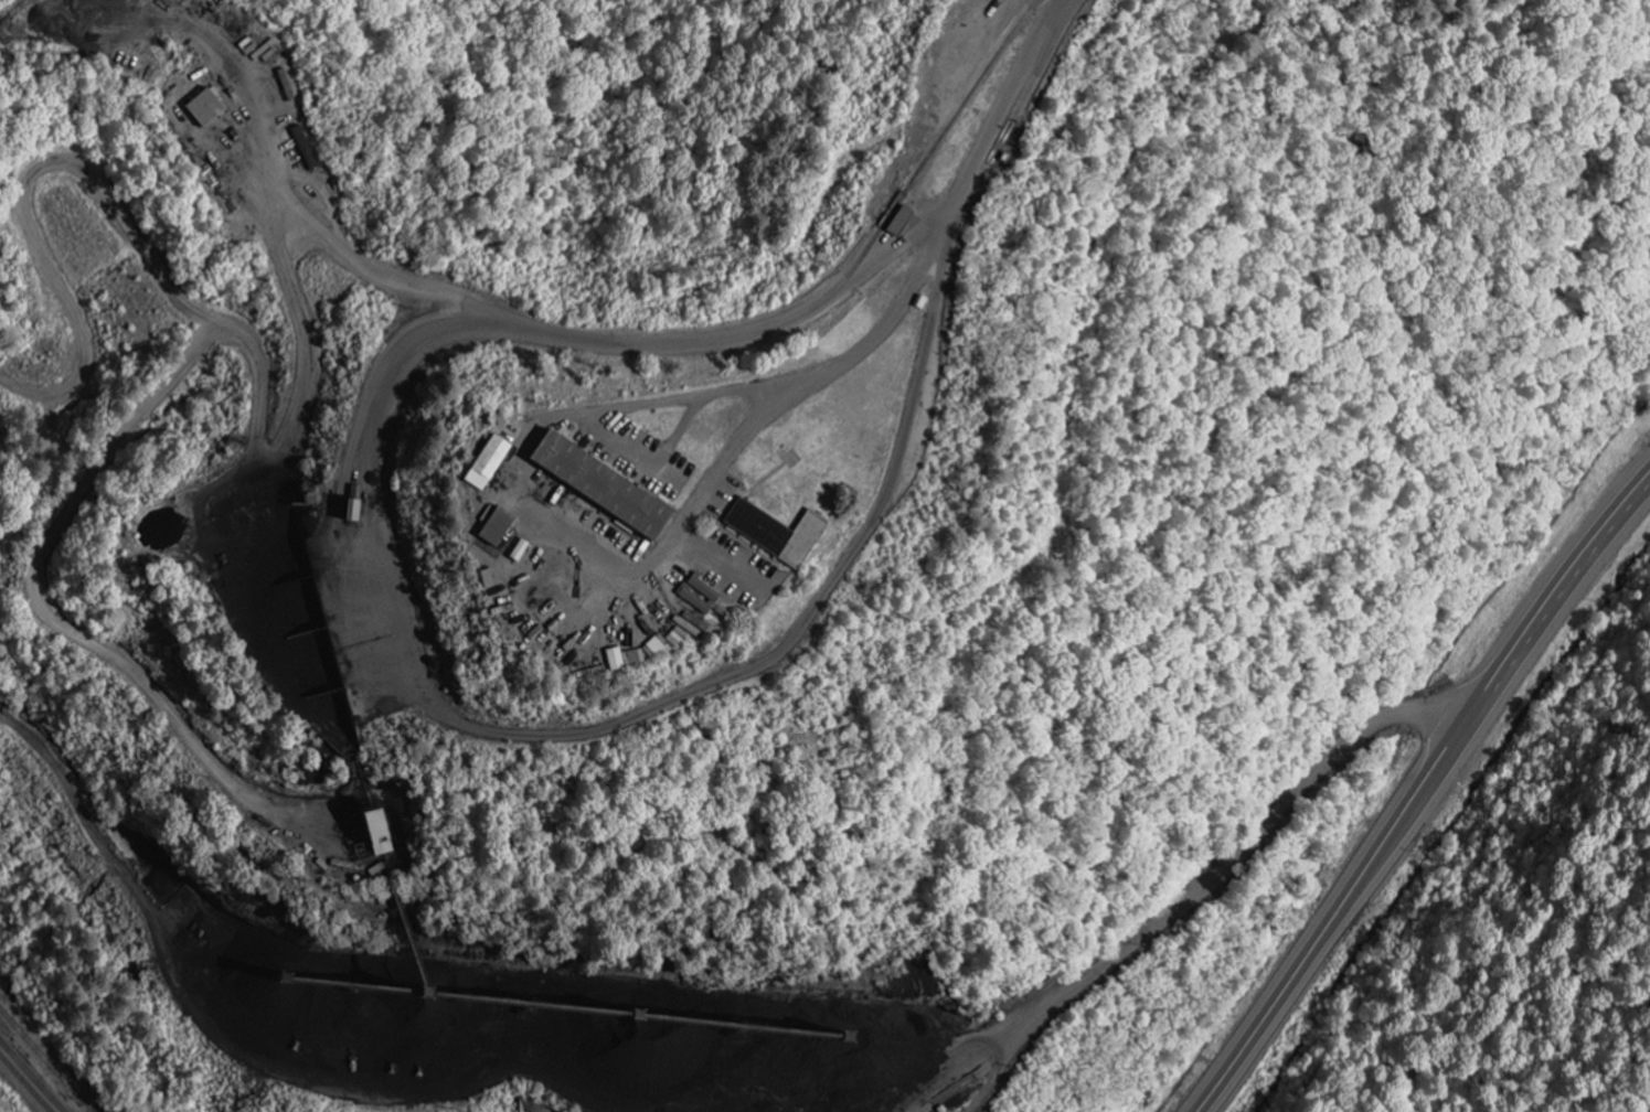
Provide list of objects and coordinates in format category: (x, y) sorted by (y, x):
building: (202, 109)
building: (486, 463)
building: (597, 485)
building: (493, 526)
building: (775, 533)
building: (518, 550)
road: (1571, 569)
building: (485, 579)
building: (614, 660)
building: (372, 833)
road: (1350, 892)
railway: (34, 1073)
railway: (25, 1082)

